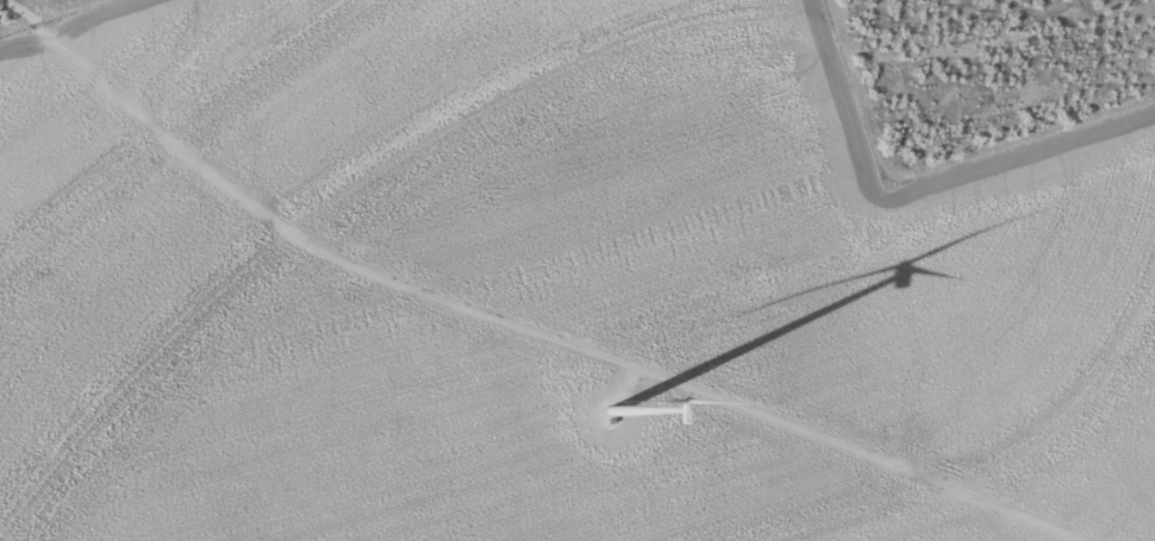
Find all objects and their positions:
wind turbine: (630, 421)

